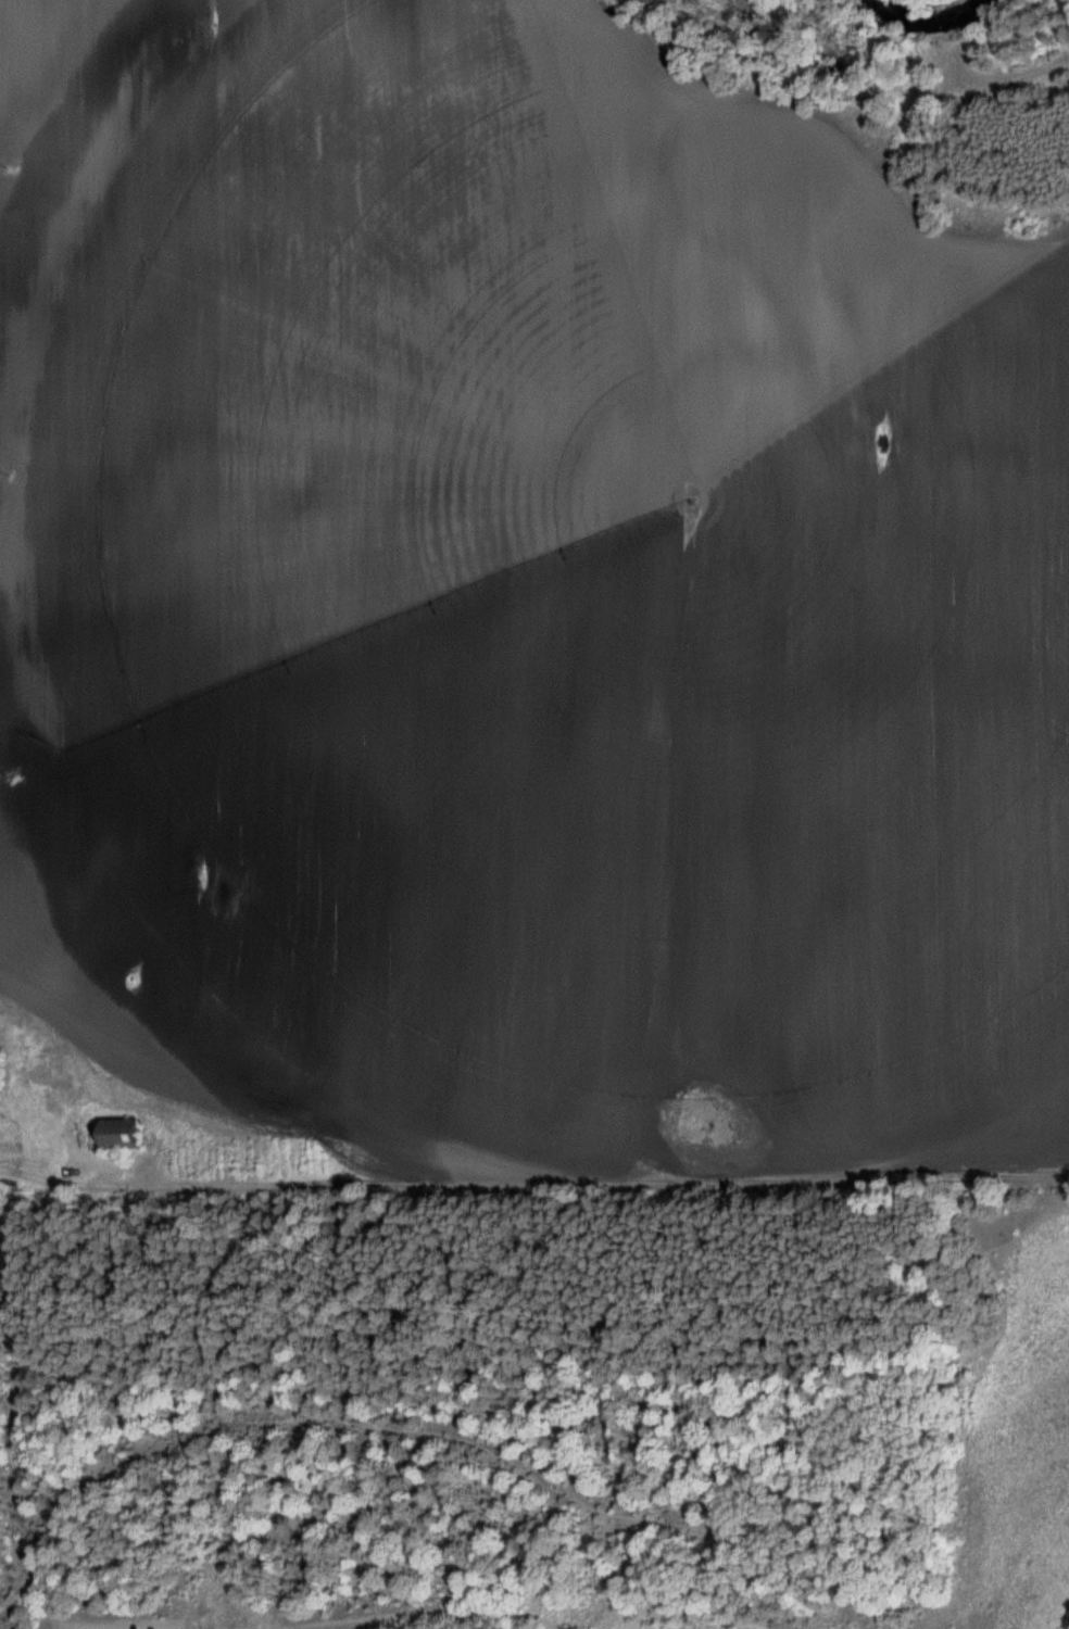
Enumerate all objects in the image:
building: (120, 1135)
road: (79, 1185)
road: (521, 1285)
park: (537, 1404)
road: (364, 1428)
road: (978, 1436)
road: (419, 1617)
parking lot: (114, 1625)

